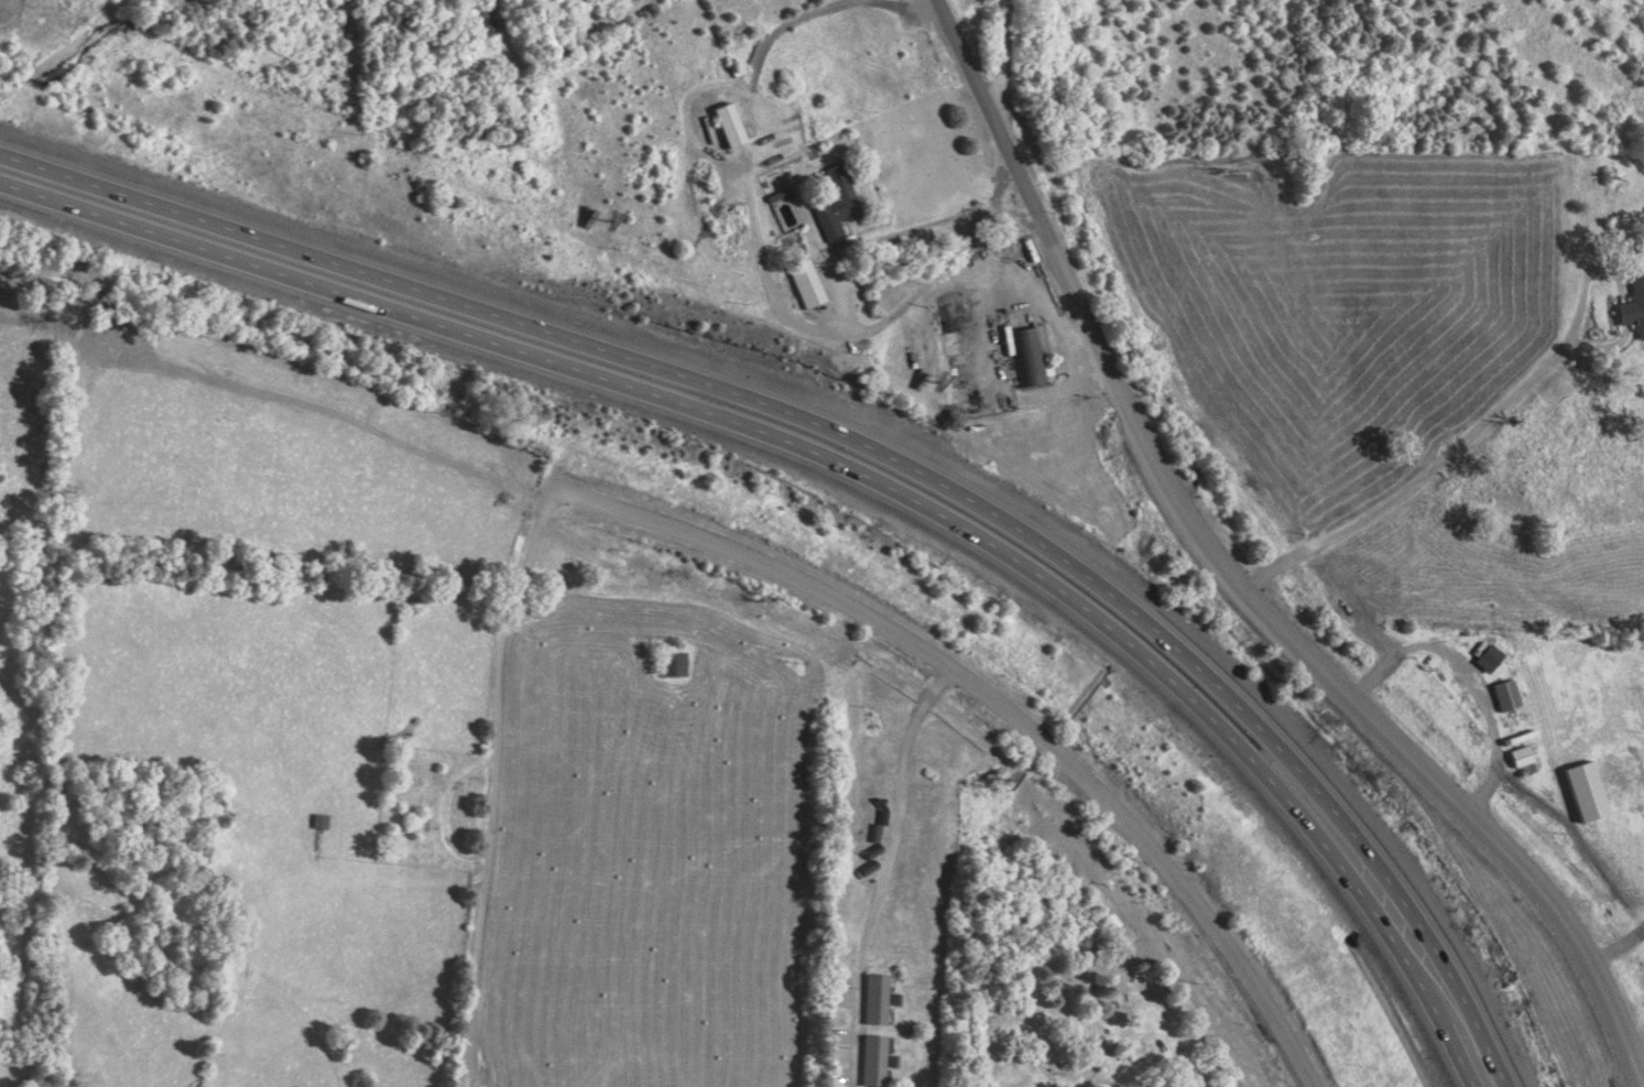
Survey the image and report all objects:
road: (972, 57)
road: (1003, 57)
building: (729, 126)
building: (836, 203)
road: (940, 222)
building: (806, 283)
building: (1633, 304)
building: (1031, 356)
road: (869, 447)
road: (1417, 468)
road: (847, 469)
road: (1274, 628)
building: (1488, 659)
building: (673, 664)
building: (1505, 695)
road: (1001, 710)
building: (1520, 757)
road: (492, 786)
building: (1585, 792)
road: (882, 874)
building: (873, 999)
building: (872, 1061)

